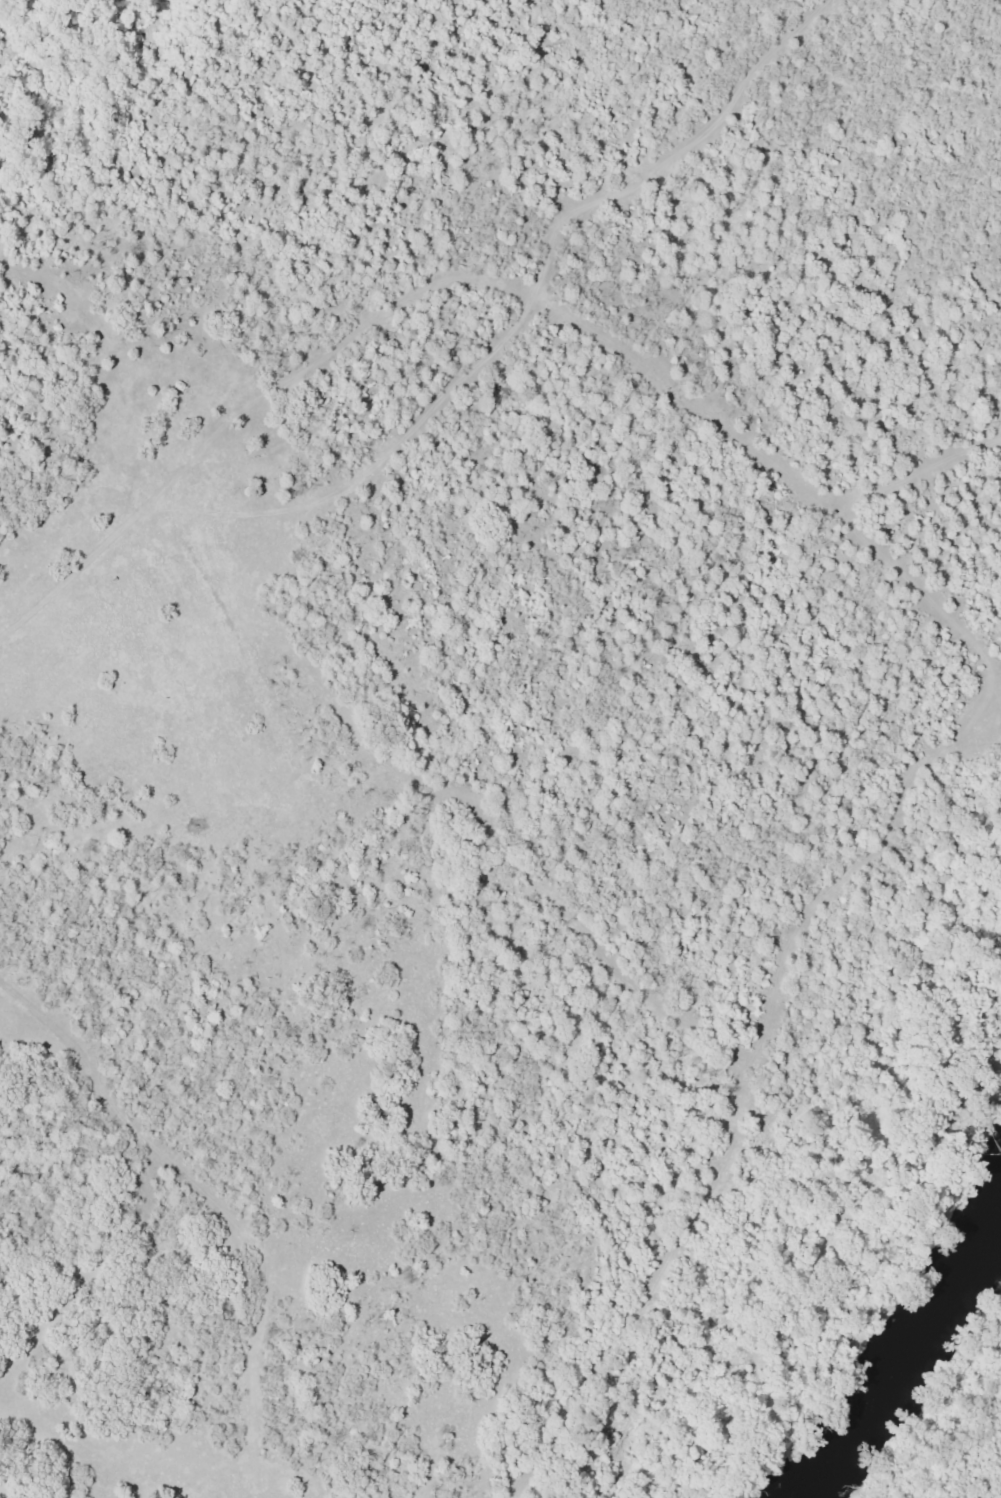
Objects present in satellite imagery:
road: (476, 462)
river: (882, 1262)
road: (979, 1471)

